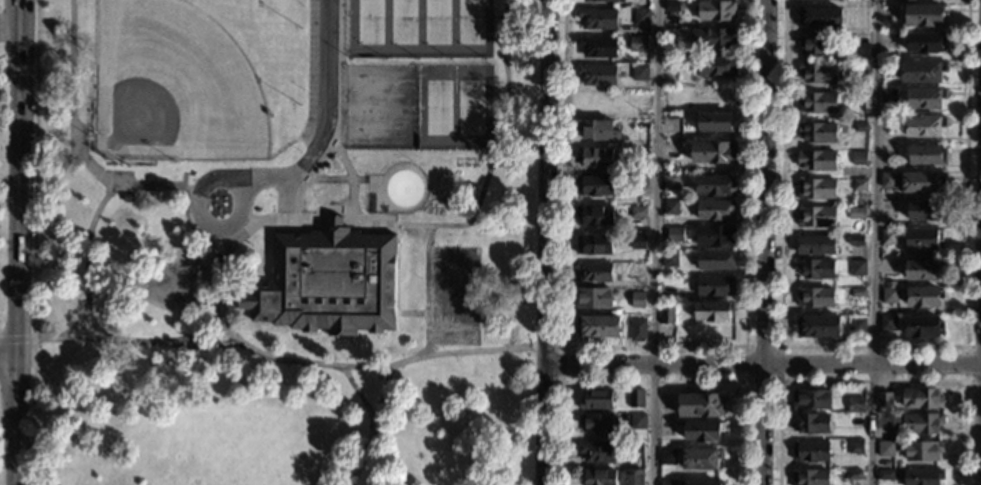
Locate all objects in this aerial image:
building: (911, 0)
building: (605, 1)
building: (672, 7)
building: (716, 11)
building: (925, 15)
building: (641, 17)
building: (820, 18)
building: (598, 19)
park: (368, 29)
park: (403, 29)
park: (436, 29)
park: (472, 29)
building: (714, 39)
building: (927, 43)
building: (638, 44)
building: (819, 45)
building: (598, 47)
building: (671, 47)
building: (671, 63)
building: (717, 67)
parking lot: (311, 71)
building: (922, 71)
building: (640, 72)
building: (818, 72)
building: (597, 75)
park: (174, 86)
building: (888, 96)
building: (925, 98)
building: (817, 102)
park: (379, 106)
park: (435, 107)
park: (472, 107)
road: (341, 116)
road: (328, 118)
building: (717, 122)
building: (888, 125)
building: (924, 127)
building: (861, 128)
building: (598, 130)
building: (818, 132)
road: (73, 139)
road: (495, 149)
building: (713, 152)
building: (640, 153)
building: (889, 154)
building: (928, 155)
building: (597, 158)
building: (859, 158)
building: (817, 160)
road: (349, 174)
road: (56, 177)
road: (337, 179)
building: (638, 181)
building: (889, 181)
building: (670, 183)
building: (924, 183)
building: (859, 185)
building: (595, 186)
building: (715, 186)
building: (816, 189)
building: (128, 199)
building: (671, 208)
building: (715, 210)
building: (887, 210)
building: (926, 211)
building: (639, 213)
building: (856, 213)
building: (595, 215)
building: (816, 217)
road: (201, 220)
building: (866, 222)
building: (675, 235)
building: (715, 236)
building: (889, 237)
building: (922, 240)
road: (206, 241)
building: (856, 241)
road: (19, 242)
road: (34, 242)
park: (283, 242)
road: (548, 242)
building: (638, 242)
road: (656, 242)
road: (765, 242)
road: (874, 242)
building: (594, 245)
building: (816, 245)
road: (221, 257)
building: (669, 259)
building: (716, 261)
road: (88, 265)
building: (858, 267)
building: (817, 269)
building: (922, 270)
building: (594, 272)
road: (145, 273)
building: (638, 274)
building: (328, 282)
building: (890, 284)
building: (716, 286)
road: (427, 290)
building: (513, 291)
building: (858, 293)
building: (889, 295)
building: (924, 297)
building: (593, 298)
building: (815, 298)
building: (638, 299)
building: (713, 311)
road: (411, 312)
building: (667, 316)
building: (888, 323)
building: (598, 326)
building: (819, 327)
building: (856, 327)
building: (923, 327)
building: (638, 330)
road: (232, 335)
road: (16, 339)
road: (69, 339)
road: (478, 343)
road: (652, 346)
road: (871, 346)
road: (561, 349)
road: (9, 359)
road: (764, 362)
road: (964, 363)
road: (356, 365)
road: (779, 380)
road: (871, 380)
road: (652, 381)
road: (387, 389)
building: (636, 399)
building: (810, 399)
building: (922, 399)
building: (597, 400)
building: (884, 400)
building: (855, 405)
building: (699, 406)
building: (666, 407)
road: (980, 415)
building: (638, 421)
road: (371, 422)
building: (599, 423)
building: (811, 423)
building: (922, 423)
building: (703, 431)
building: (855, 447)
building: (886, 449)
building: (636, 450)
road: (372, 451)
building: (810, 451)
building: (923, 451)
building: (599, 452)
building: (667, 457)
building: (701, 459)
building: (854, 475)
building: (885, 475)
building: (922, 476)
building: (599, 477)
building: (633, 477)
building: (811, 477)
building: (668, 482)
building: (704, 483)

